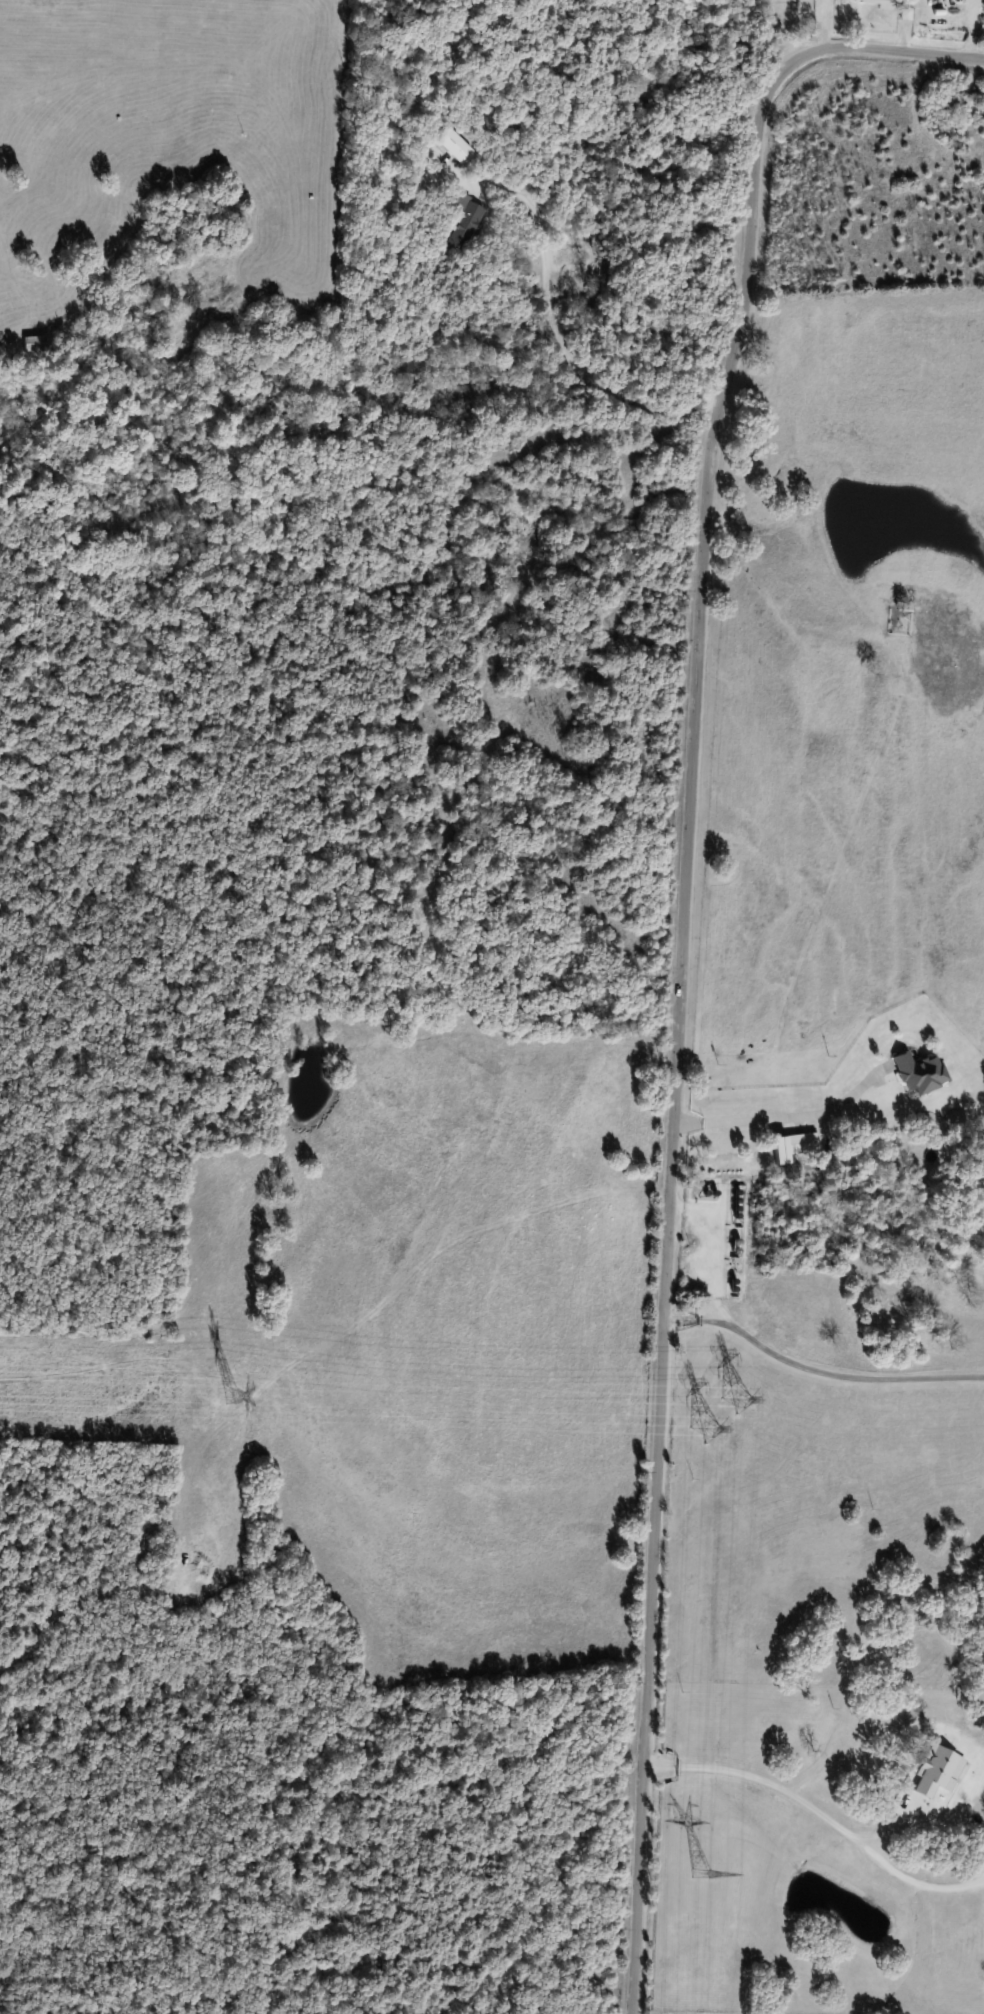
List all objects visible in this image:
building: (881, 4)
building: (957, 101)
building: (454, 144)
building: (467, 220)
road: (559, 331)
building: (35, 344)
park: (742, 413)
road: (681, 932)
building: (920, 1073)
road: (781, 1119)
building: (801, 1143)
road: (817, 1374)
power tower: (230, 1395)
power tower: (720, 1414)
road: (778, 1788)
power tower: (703, 1875)

